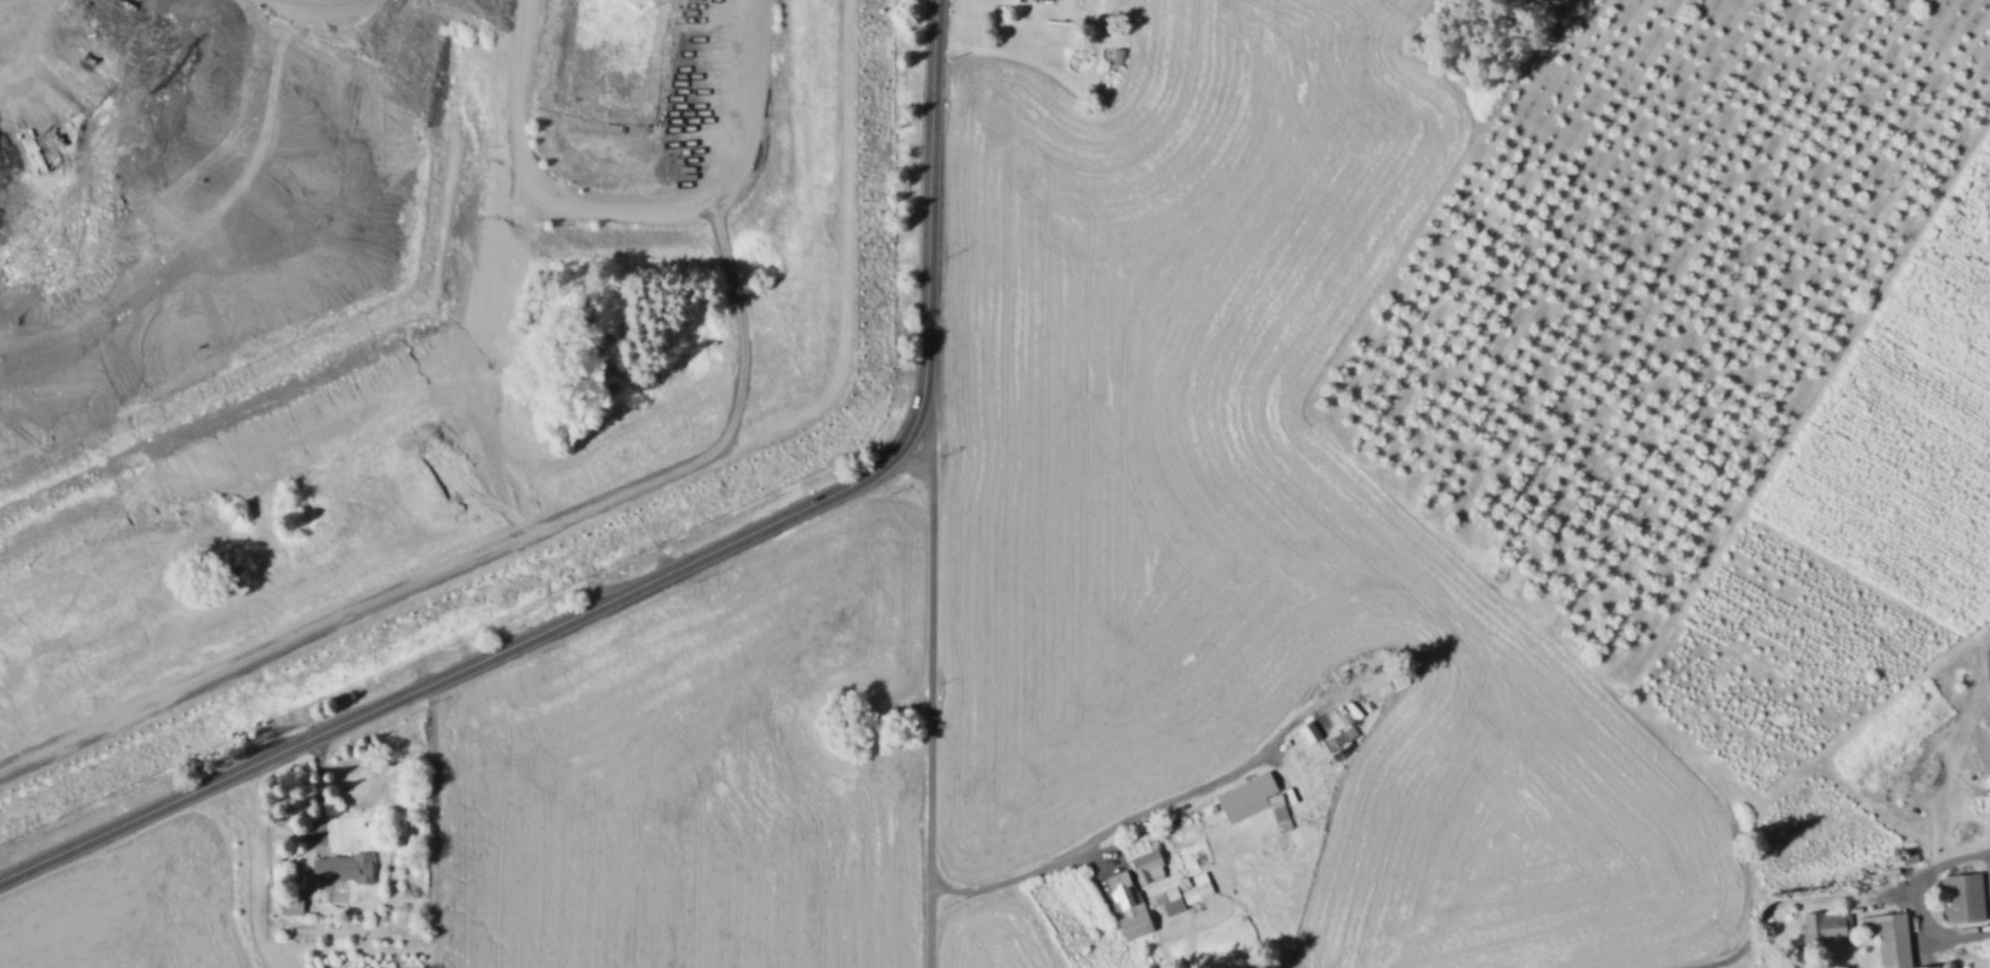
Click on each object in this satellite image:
building: (1052, 0)
crop: (1542, 4)
road: (326, 5)
building: (1120, 56)
road: (511, 108)
crop: (1967, 221)
landfill: (401, 318)
crop: (1932, 343)
crop: (1163, 400)
road: (1810, 401)
road: (463, 410)
crop: (1889, 500)
road: (659, 576)
crop: (1782, 652)
road: (929, 687)
building: (1379, 688)
building: (1311, 732)
crop: (692, 773)
road: (1212, 783)
building: (1246, 796)
crop: (1508, 808)
crop: (1803, 831)
building: (1144, 857)
building: (344, 873)
road: (1023, 873)
building: (1184, 881)
building: (1196, 887)
building: (1171, 895)
road: (1832, 897)
building: (1159, 899)
building: (1963, 900)
crop: (130, 904)
building: (1131, 906)
building: (1822, 928)
building: (1867, 928)
crop: (993, 933)
road: (1936, 935)
building: (1893, 941)
building: (1946, 965)
silo: (1946, 965)
building: (1933, 967)

